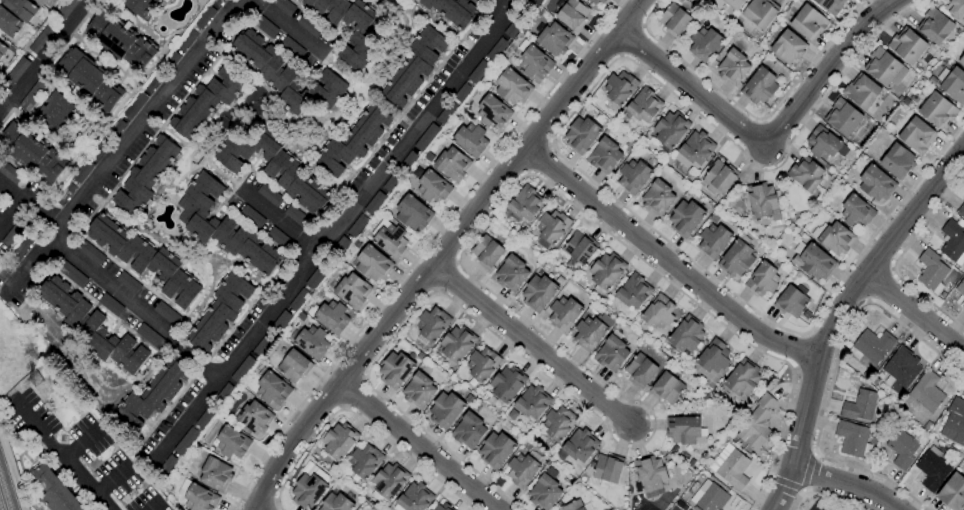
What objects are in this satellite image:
building: (295, 0)
building: (587, 0)
building: (166, 1)
building: (478, 1)
building: (597, 1)
building: (40, 2)
building: (217, 2)
building: (532, 4)
building: (734, 4)
building: (283, 6)
road: (504, 6)
building: (830, 6)
building: (141, 7)
building: (21, 8)
building: (954, 8)
building: (66, 9)
building: (450, 11)
building: (760, 12)
building: (572, 14)
road: (630, 15)
building: (204, 17)
building: (673, 20)
road: (291, 22)
building: (808, 22)
building: (9, 23)
building: (264, 26)
building: (309, 26)
road: (642, 26)
building: (935, 26)
building: (513, 27)
building: (41, 38)
building: (357, 38)
building: (554, 39)
road: (630, 39)
building: (120, 40)
building: (186, 40)
building: (704, 44)
building: (907, 46)
building: (291, 48)
building: (788, 48)
building: (2, 49)
building: (496, 50)
road: (44, 55)
road: (620, 55)
building: (170, 59)
building: (533, 61)
building: (961, 61)
building: (414, 65)
building: (733, 67)
building: (882, 67)
building: (478, 72)
building: (15, 73)
building: (286, 76)
road: (838, 79)
building: (89, 80)
building: (154, 80)
building: (759, 86)
building: (954, 86)
building: (513, 87)
building: (619, 88)
building: (462, 92)
building: (861, 92)
building: (33, 94)
road: (582, 98)
building: (914, 98)
building: (207, 101)
building: (643, 105)
building: (134, 106)
building: (937, 111)
building: (56, 112)
building: (446, 112)
building: (492, 112)
road: (695, 112)
road: (751, 116)
building: (843, 117)
building: (115, 129)
building: (670, 129)
building: (581, 135)
building: (916, 136)
building: (426, 137)
road: (133, 138)
building: (353, 140)
building: (471, 140)
building: (822, 143)
road: (549, 144)
road: (768, 144)
building: (696, 148)
road: (963, 148)
building: (99, 149)
building: (32, 152)
building: (604, 156)
road: (536, 157)
building: (897, 161)
building: (407, 162)
building: (452, 165)
building: (273, 167)
building: (82, 171)
building: (9, 172)
road: (527, 172)
building: (805, 174)
building: (147, 176)
building: (633, 176)
building: (719, 178)
building: (391, 182)
building: (875, 183)
building: (431, 185)
road: (906, 193)
building: (64, 194)
building: (269, 195)
building: (657, 198)
building: (763, 201)
building: (374, 203)
road: (31, 205)
building: (524, 205)
building: (961, 210)
building: (856, 212)
building: (413, 213)
building: (296, 216)
building: (251, 217)
building: (686, 218)
road: (278, 225)
building: (356, 225)
building: (222, 226)
building: (551, 228)
road: (339, 230)
building: (15, 231)
building: (278, 238)
building: (389, 238)
building: (836, 239)
building: (713, 240)
building: (952, 240)
road: (674, 247)
building: (579, 248)
building: (337, 250)
road: (421, 250)
building: (89, 252)
building: (487, 252)
building: (145, 259)
road: (665, 259)
building: (736, 259)
road: (897, 259)
building: (814, 262)
road: (455, 263)
building: (373, 264)
road: (429, 265)
road: (891, 269)
building: (931, 270)
building: (606, 272)
building: (511, 273)
building: (71, 274)
road: (444, 276)
building: (316, 277)
building: (762, 279)
building: (128, 283)
road: (878, 284)
building: (960, 288)
road: (434, 290)
building: (352, 291)
building: (633, 291)
building: (538, 293)
road: (826, 298)
building: (298, 300)
road: (867, 300)
building: (790, 301)
building: (110, 305)
building: (963, 306)
road: (834, 311)
road: (136, 312)
building: (219, 312)
building: (658, 312)
building: (564, 313)
road: (914, 313)
building: (167, 314)
building: (301, 317)
building: (332, 317)
building: (280, 322)
building: (431, 325)
building: (91, 326)
building: (591, 331)
road: (808, 334)
building: (150, 336)
building: (686, 338)
building: (312, 342)
building: (457, 343)
building: (262, 345)
road: (531, 345)
building: (873, 345)
road: (803, 351)
building: (611, 353)
building: (713, 357)
building: (482, 364)
building: (294, 366)
road: (582, 366)
road: (795, 368)
building: (242, 369)
building: (641, 369)
building: (395, 370)
building: (901, 370)
road: (833, 372)
power tower: (28, 374)
building: (866, 374)
building: (742, 378)
building: (506, 385)
building: (666, 388)
building: (273, 389)
building: (419, 390)
building: (927, 392)
building: (153, 394)
building: (223, 395)
building: (468, 398)
building: (532, 401)
building: (863, 405)
building: (475, 408)
building: (445, 410)
building: (512, 415)
building: (206, 417)
building: (253, 417)
building: (955, 417)
road: (358, 418)
building: (758, 423)
building: (558, 424)
building: (682, 429)
building: (468, 430)
building: (853, 439)
building: (339, 440)
building: (186, 441)
road: (82, 443)
building: (232, 443)
road: (418, 445)
building: (578, 446)
building: (901, 448)
building: (496, 449)
building: (674, 449)
road: (814, 454)
road: (65, 455)
building: (365, 461)
building: (691, 462)
building: (165, 468)
building: (932, 468)
building: (733, 469)
building: (522, 470)
building: (606, 470)
road: (807, 471)
building: (215, 474)
building: (651, 475)
road: (114, 478)
building: (388, 483)
road: (785, 483)
road: (846, 484)
road: (762, 486)
road: (803, 489)
building: (54, 490)
building: (308, 491)
building: (544, 492)
building: (953, 492)
road: (827, 493)
railway: (4, 496)
building: (197, 496)
building: (709, 497)
building: (414, 498)
parking lot: (821, 501)
building: (336, 503)
road: (153, 506)
building: (572, 506)
building: (442, 507)
building: (431, 509)

